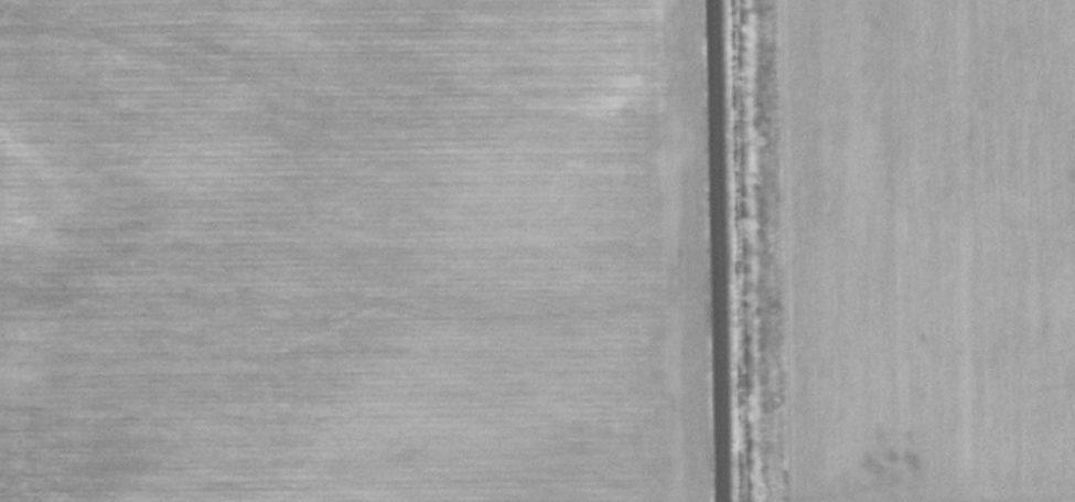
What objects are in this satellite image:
road: (725, 250)

